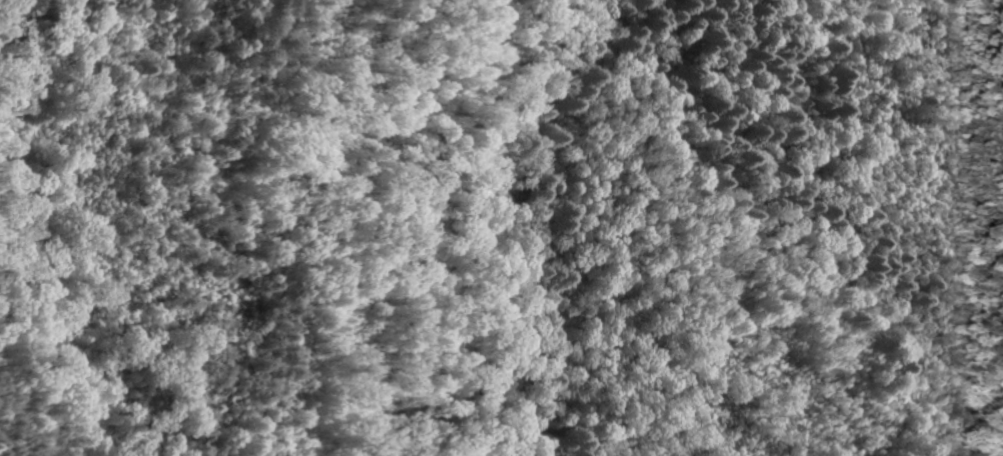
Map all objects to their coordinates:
road: (85, 36)

